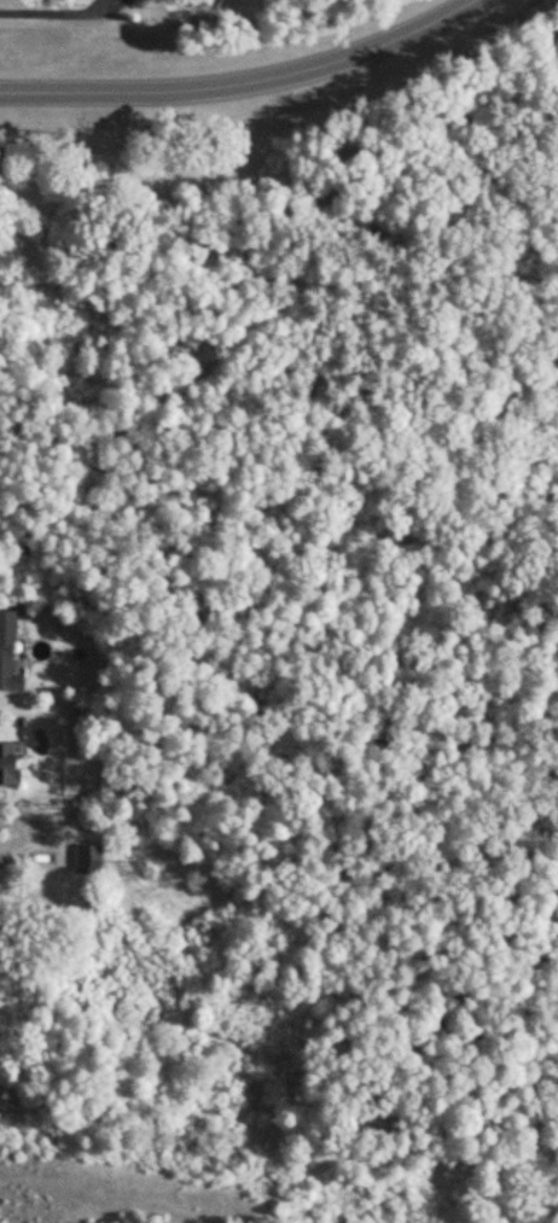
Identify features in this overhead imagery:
road: (56, 13)
road: (244, 81)
road: (268, 303)
building: (7, 653)
building: (5, 765)
road: (409, 1135)

